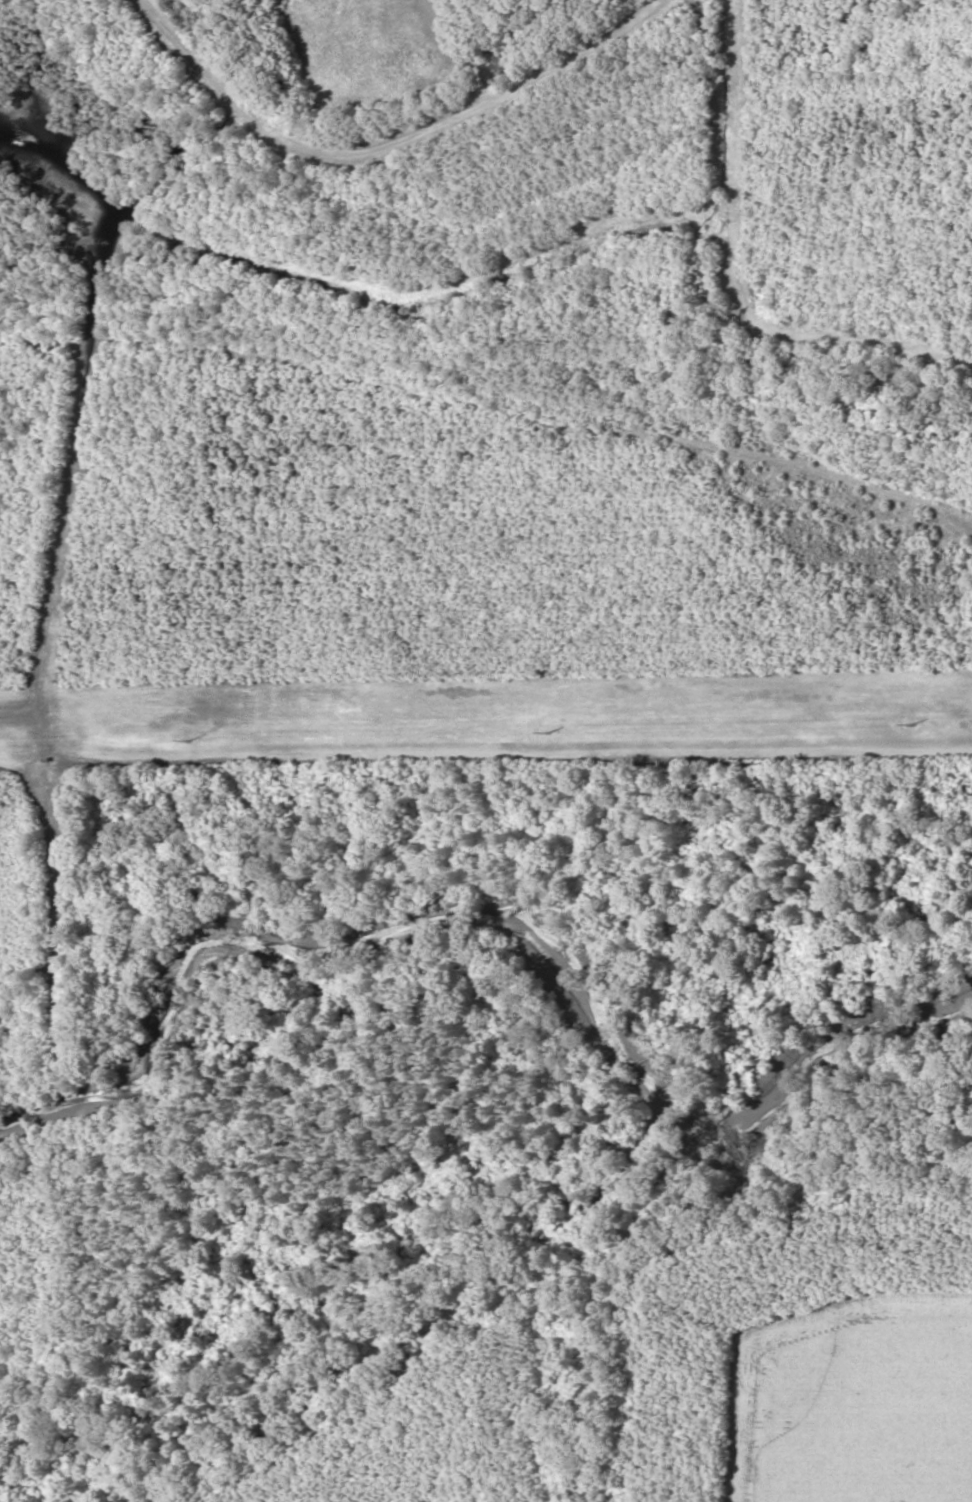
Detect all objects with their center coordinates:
road: (398, 146)
power tower: (917, 722)
power tower: (553, 730)
power tower: (191, 738)

